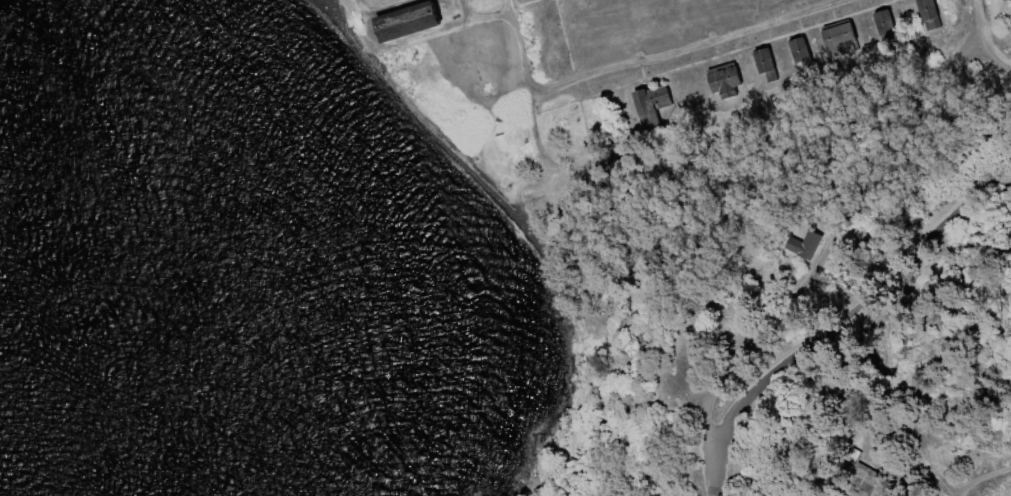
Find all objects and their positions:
flagpole: (590, 7)
building: (935, 9)
building: (891, 21)
building: (410, 23)
building: (940, 23)
road: (989, 32)
building: (896, 37)
building: (846, 38)
building: (876, 47)
building: (806, 52)
road: (647, 57)
building: (770, 64)
building: (729, 81)
building: (794, 84)
building: (653, 102)
building: (741, 114)
road: (595, 175)
park: (744, 230)
building: (815, 244)
road: (837, 261)
road: (842, 334)
building: (875, 478)
road: (993, 483)
park: (474, 494)

